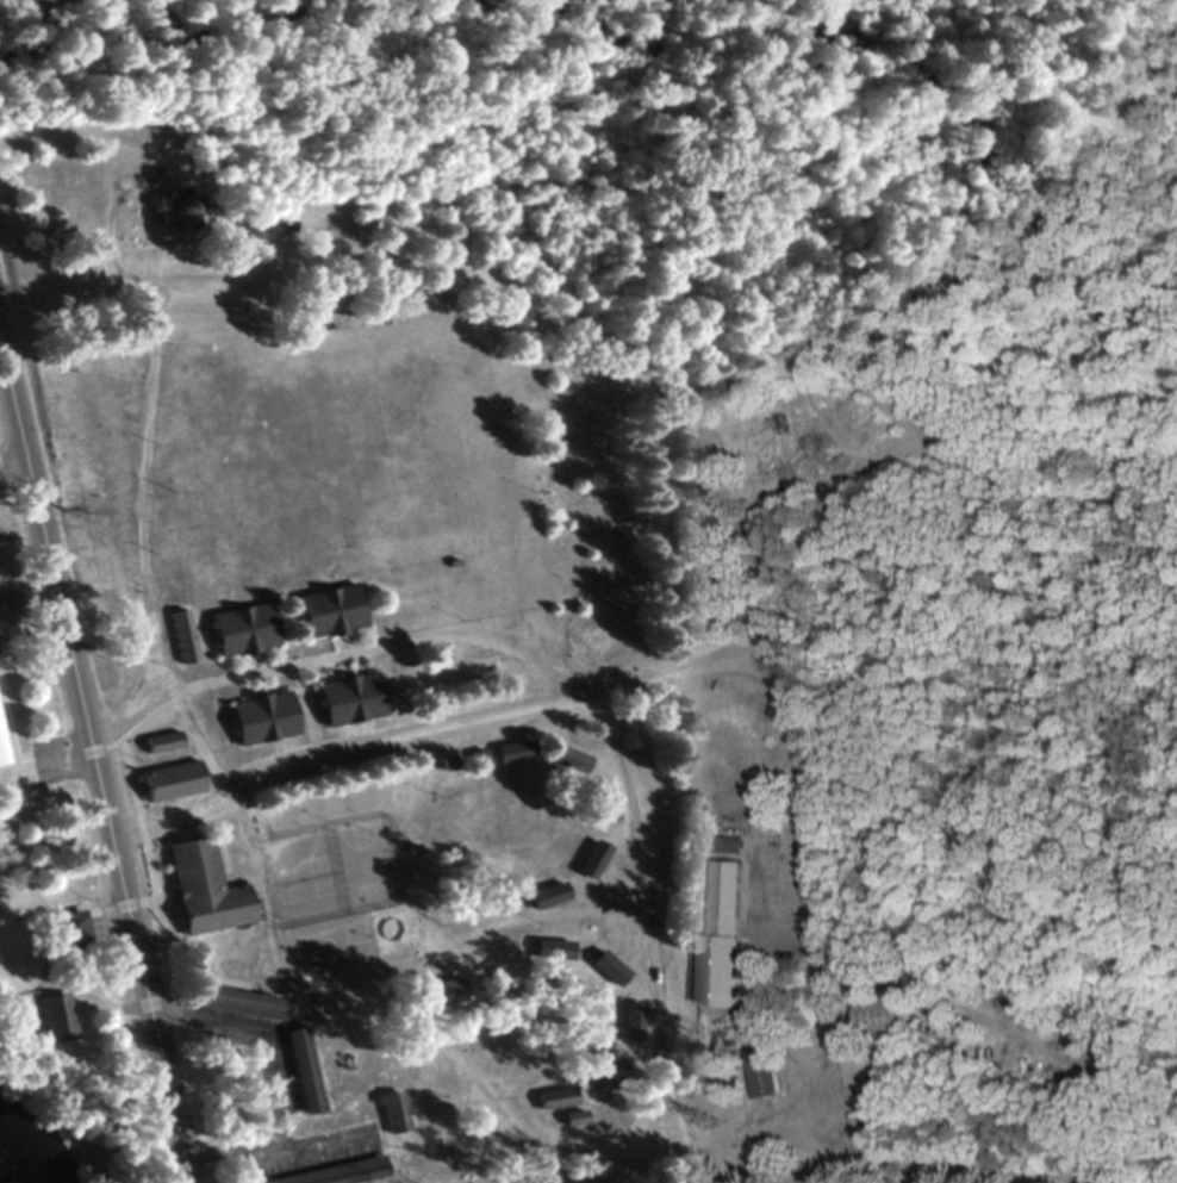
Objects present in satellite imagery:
river: (649, 11)
river: (469, 18)
river: (158, 50)
river: (1010, 157)
building: (174, 212)
road: (11, 457)
road: (150, 492)
building: (326, 610)
building: (239, 629)
building: (180, 636)
road: (764, 681)
building: (345, 698)
building: (259, 717)
building: (158, 742)
building: (510, 751)
road: (42, 759)
road: (323, 759)
building: (565, 759)
building: (0, 764)
road: (91, 770)
building: (167, 780)
building: (604, 811)
building: (728, 845)
building: (590, 858)
building: (724, 888)
building: (204, 889)
building: (546, 895)
road: (646, 913)
building: (68, 928)
building: (550, 949)
building: (605, 966)
building: (438, 992)
building: (238, 1002)
building: (718, 1015)
building: (52, 1016)
building: (873, 1017)
road: (355, 1020)
building: (629, 1021)
building: (1060, 1033)
building: (298, 1070)
building: (759, 1072)
building: (606, 1075)
road: (268, 1077)
road: (671, 1090)
building: (553, 1097)
building: (390, 1112)
building: (571, 1117)
road: (527, 1162)
building: (331, 1172)

